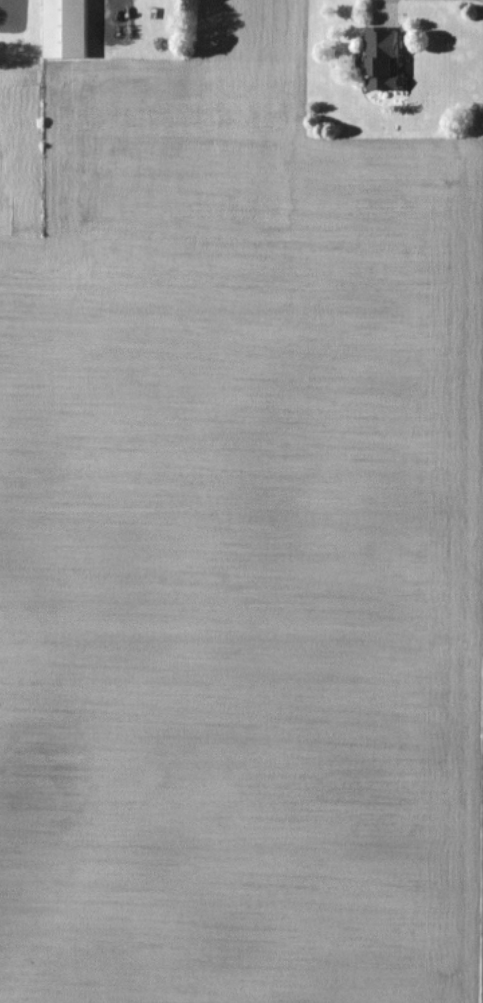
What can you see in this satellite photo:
building: (66, 28)
building: (382, 57)

